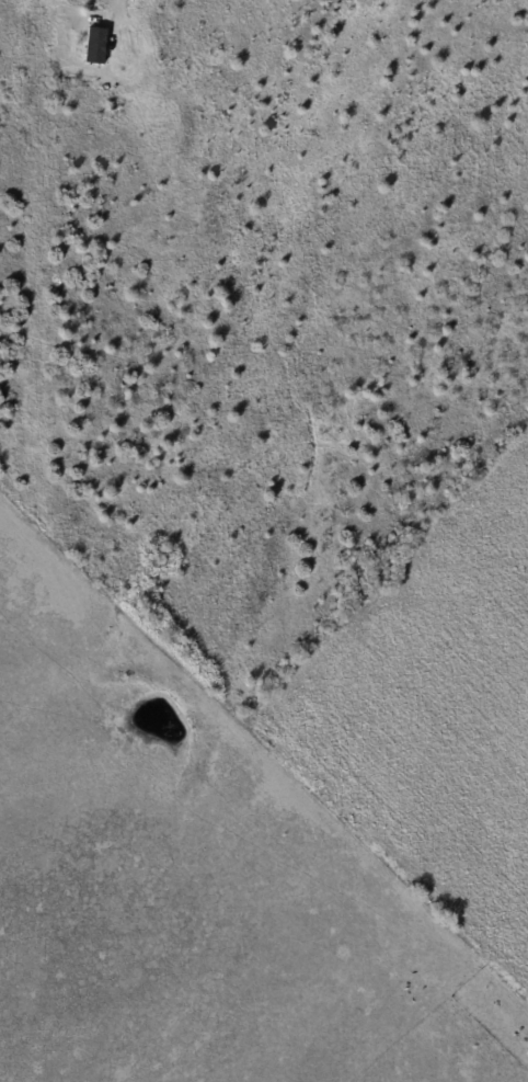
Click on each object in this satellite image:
road: (120, 20)
building: (95, 46)

